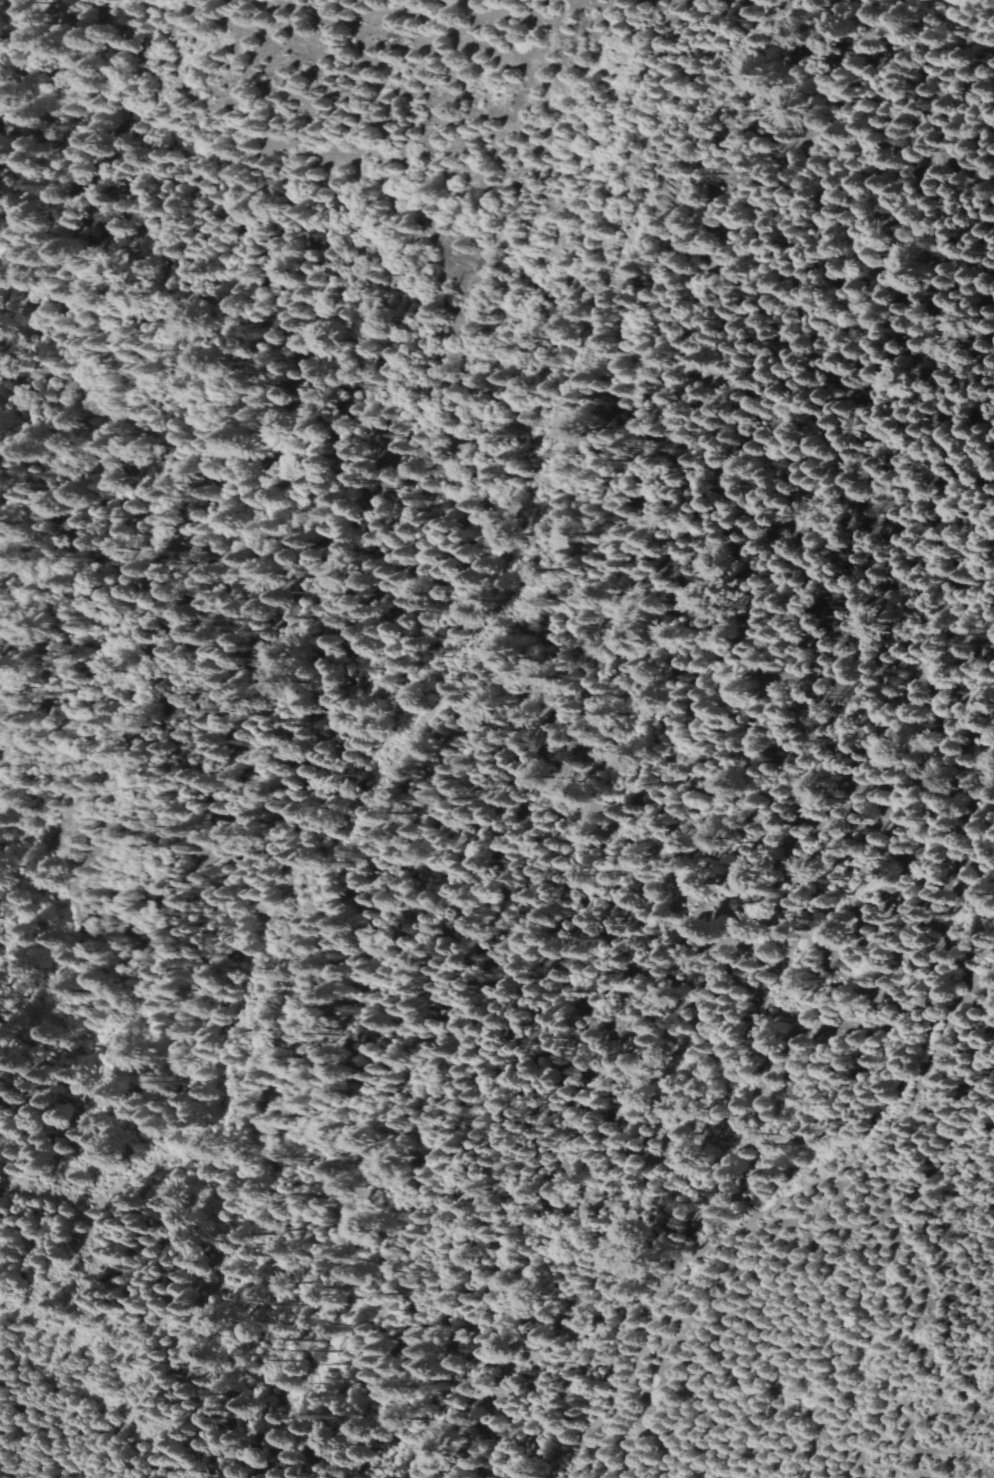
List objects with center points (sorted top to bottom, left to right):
road: (461, 675)
road: (767, 1212)
road: (807, 1292)

